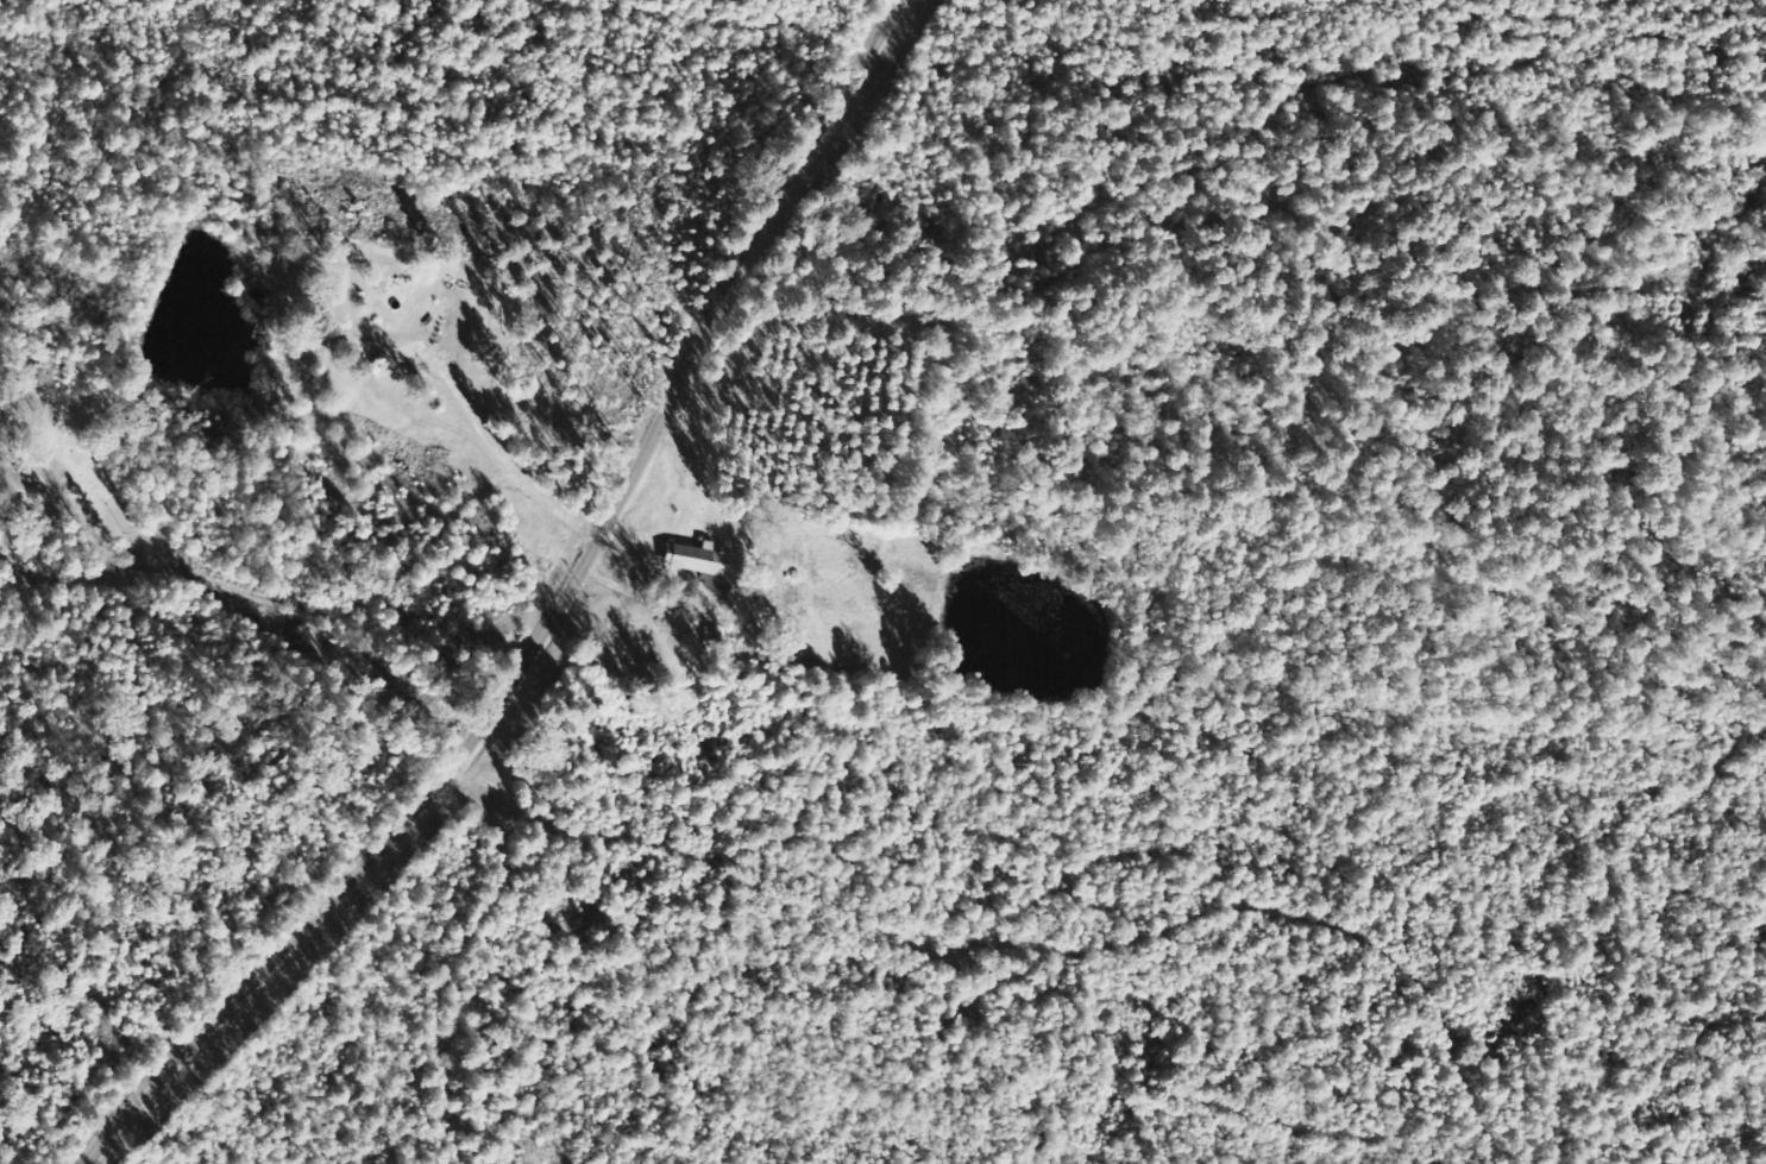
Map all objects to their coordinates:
road: (557, 175)
road: (212, 333)
road: (617, 624)

